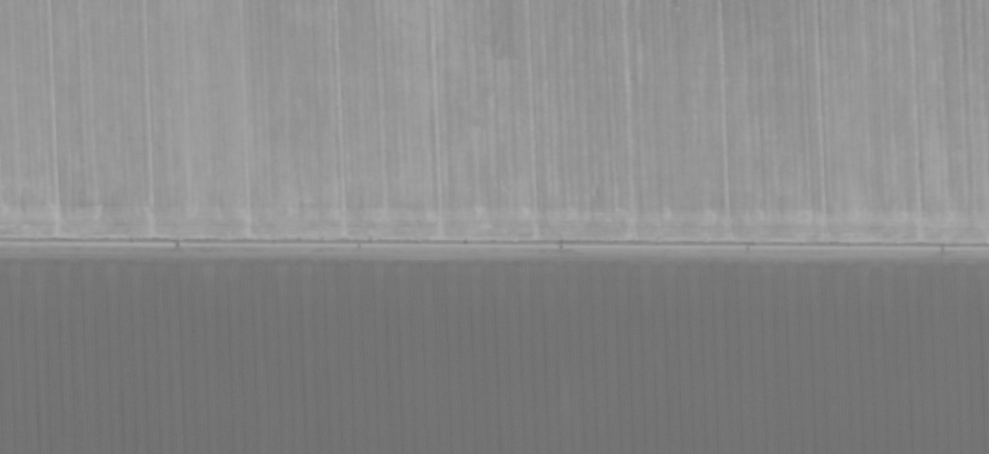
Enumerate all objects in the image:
road: (494, 260)

